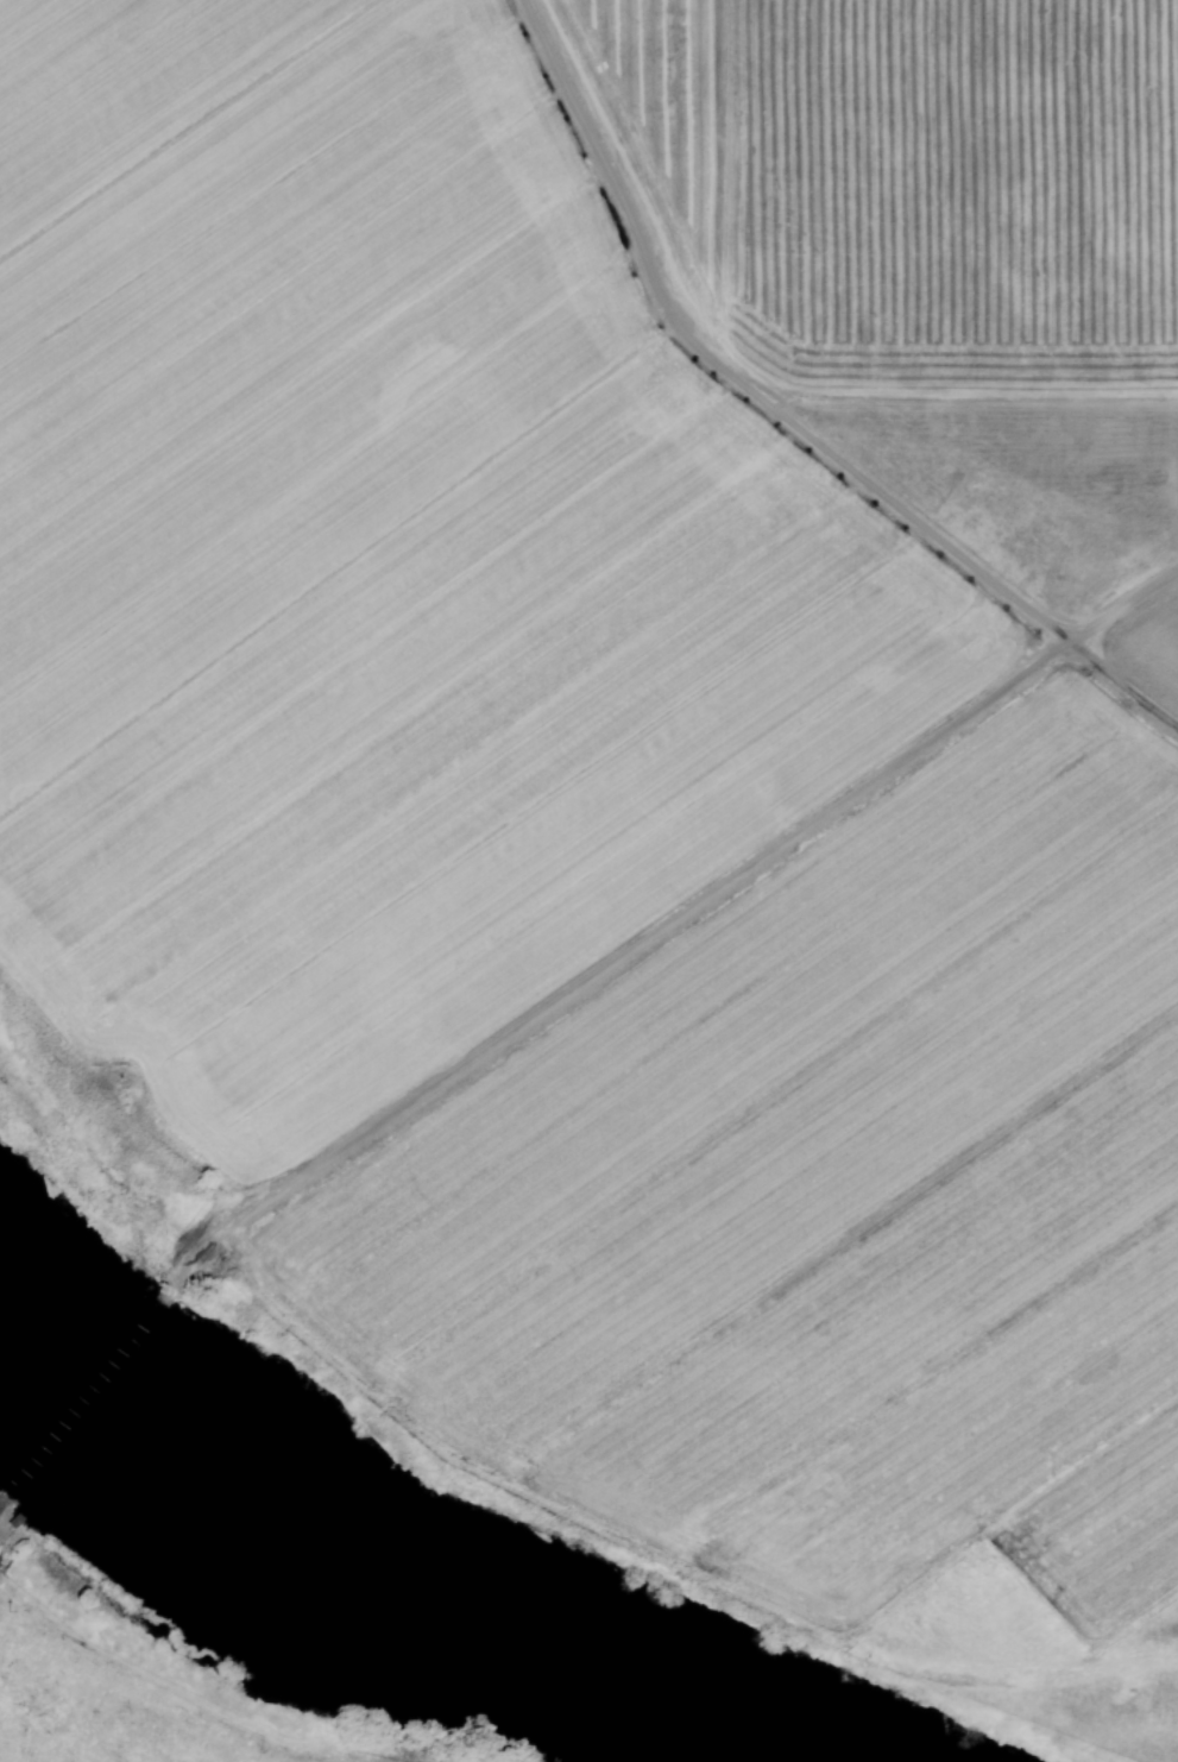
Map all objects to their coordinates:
river: (366, 1577)

